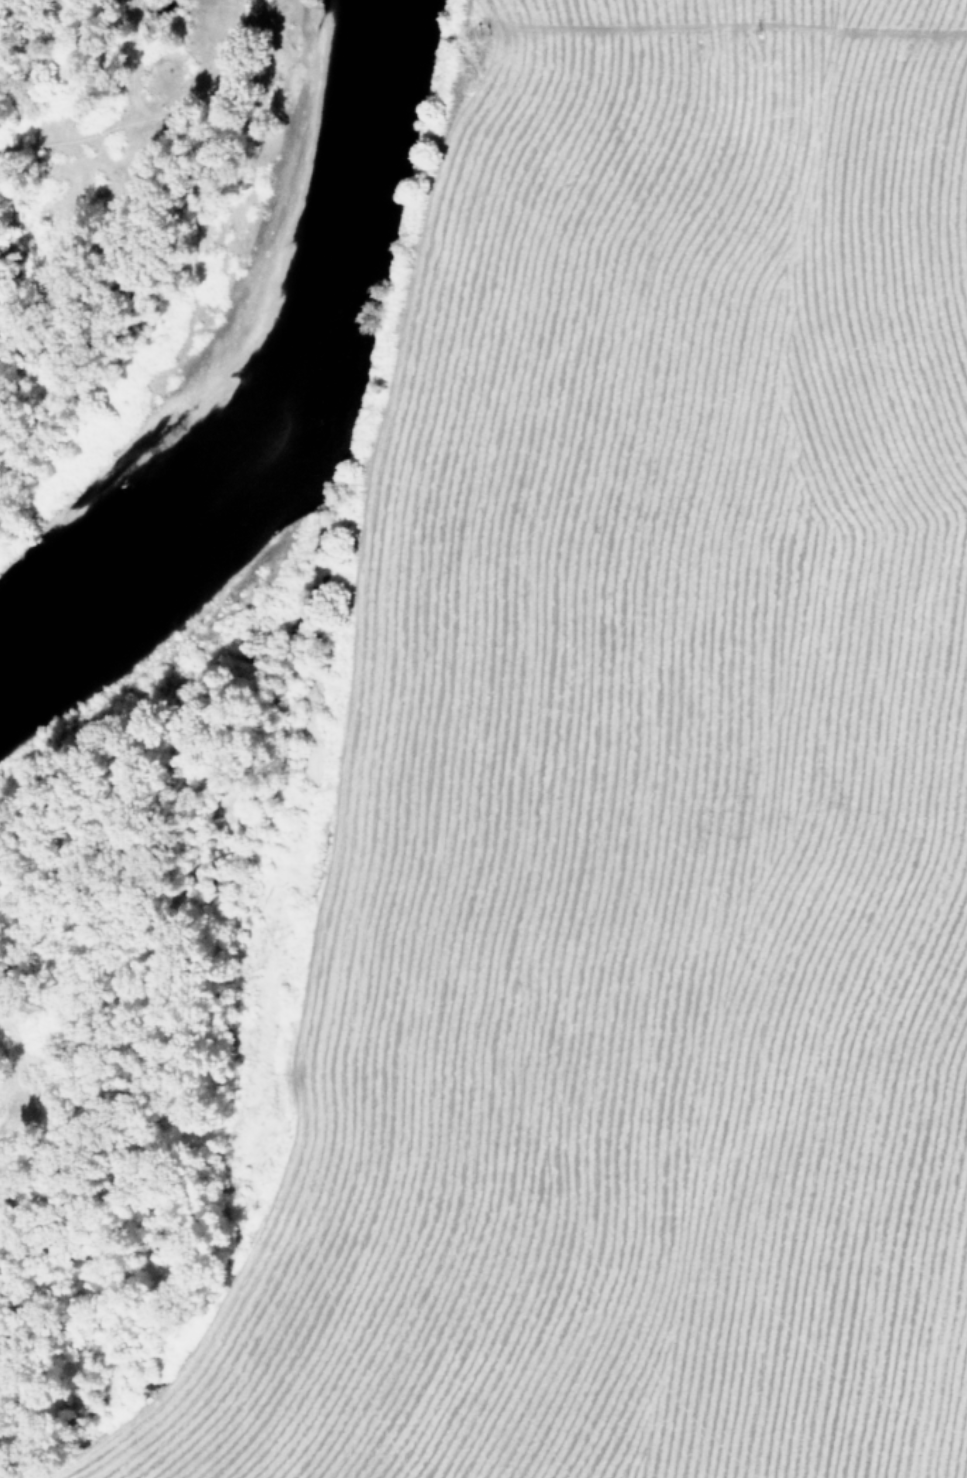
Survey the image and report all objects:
road: (711, 345)
river: (256, 358)
crop: (613, 806)

